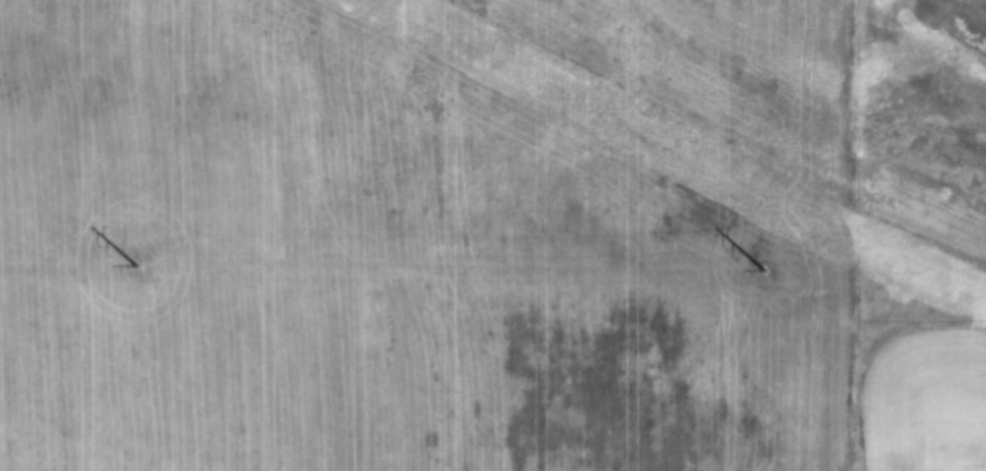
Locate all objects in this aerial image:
power tower: (137, 265)
power tower: (764, 275)

